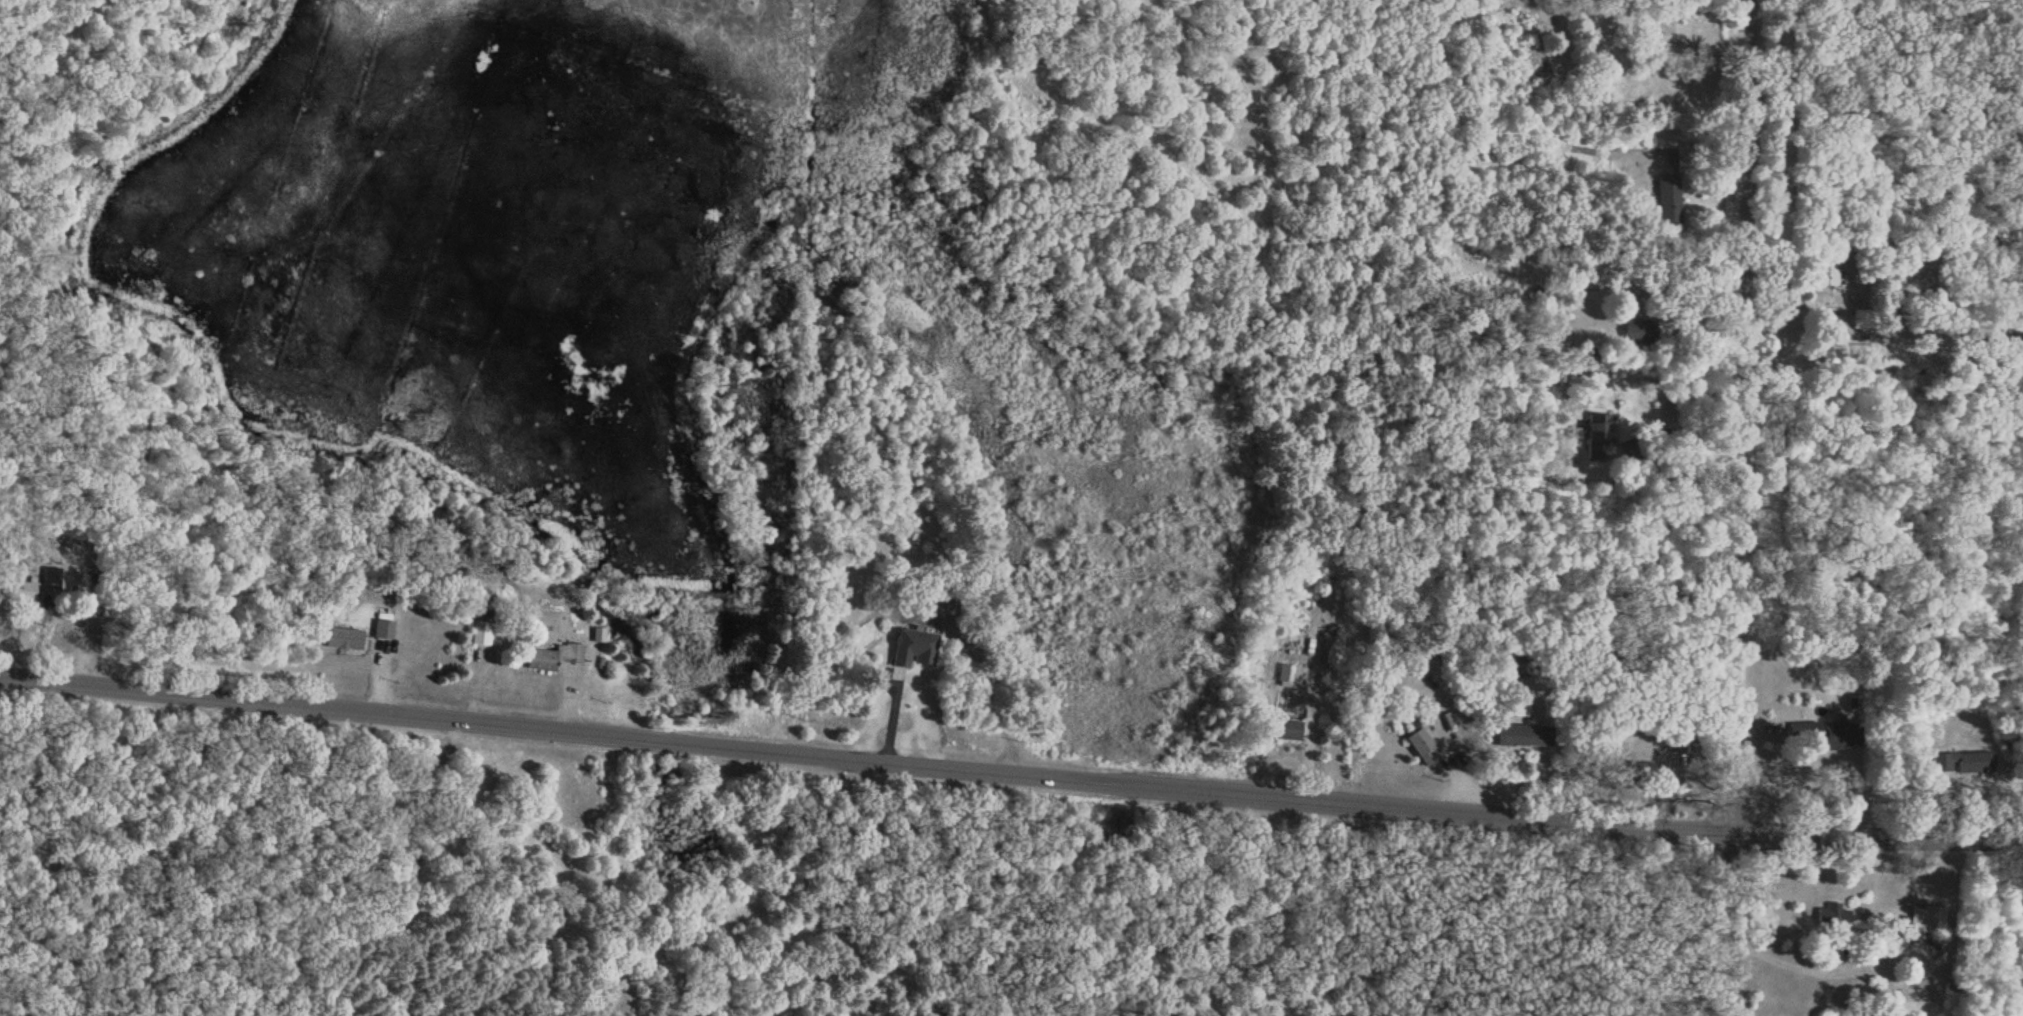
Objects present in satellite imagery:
building: (1620, 75)
building: (1667, 203)
building: (1824, 272)
road: (1817, 324)
building: (1632, 334)
road: (1676, 424)
building: (1599, 440)
road: (1737, 508)
building: (53, 579)
building: (21, 593)
building: (382, 632)
building: (481, 636)
building: (343, 641)
building: (911, 653)
building: (553, 660)
building: (1283, 733)
building: (1802, 733)
building: (1835, 737)
building: (1518, 738)
building: (1420, 751)
road: (1010, 765)
building: (1640, 773)
building: (1832, 918)
building: (1925, 919)
road: (1781, 962)

